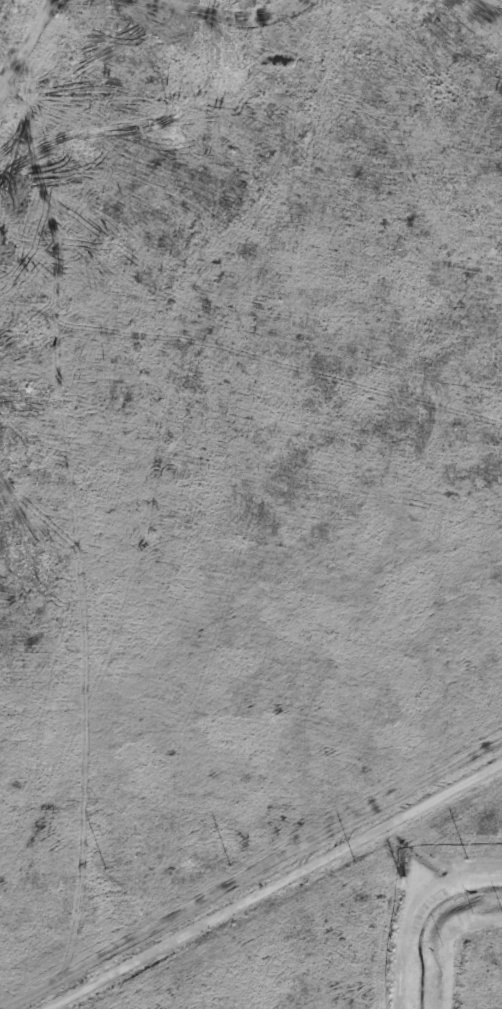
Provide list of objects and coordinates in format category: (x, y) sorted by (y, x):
road: (268, 882)

